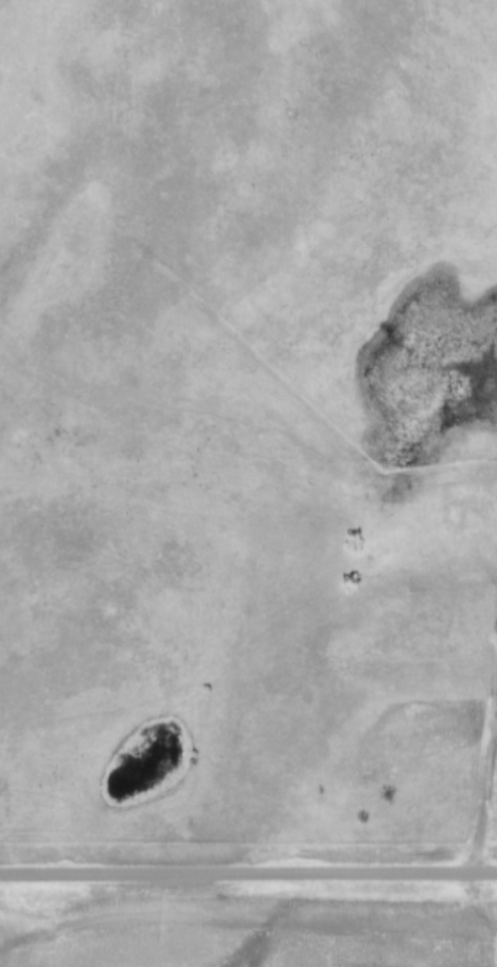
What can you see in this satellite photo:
road: (248, 877)

